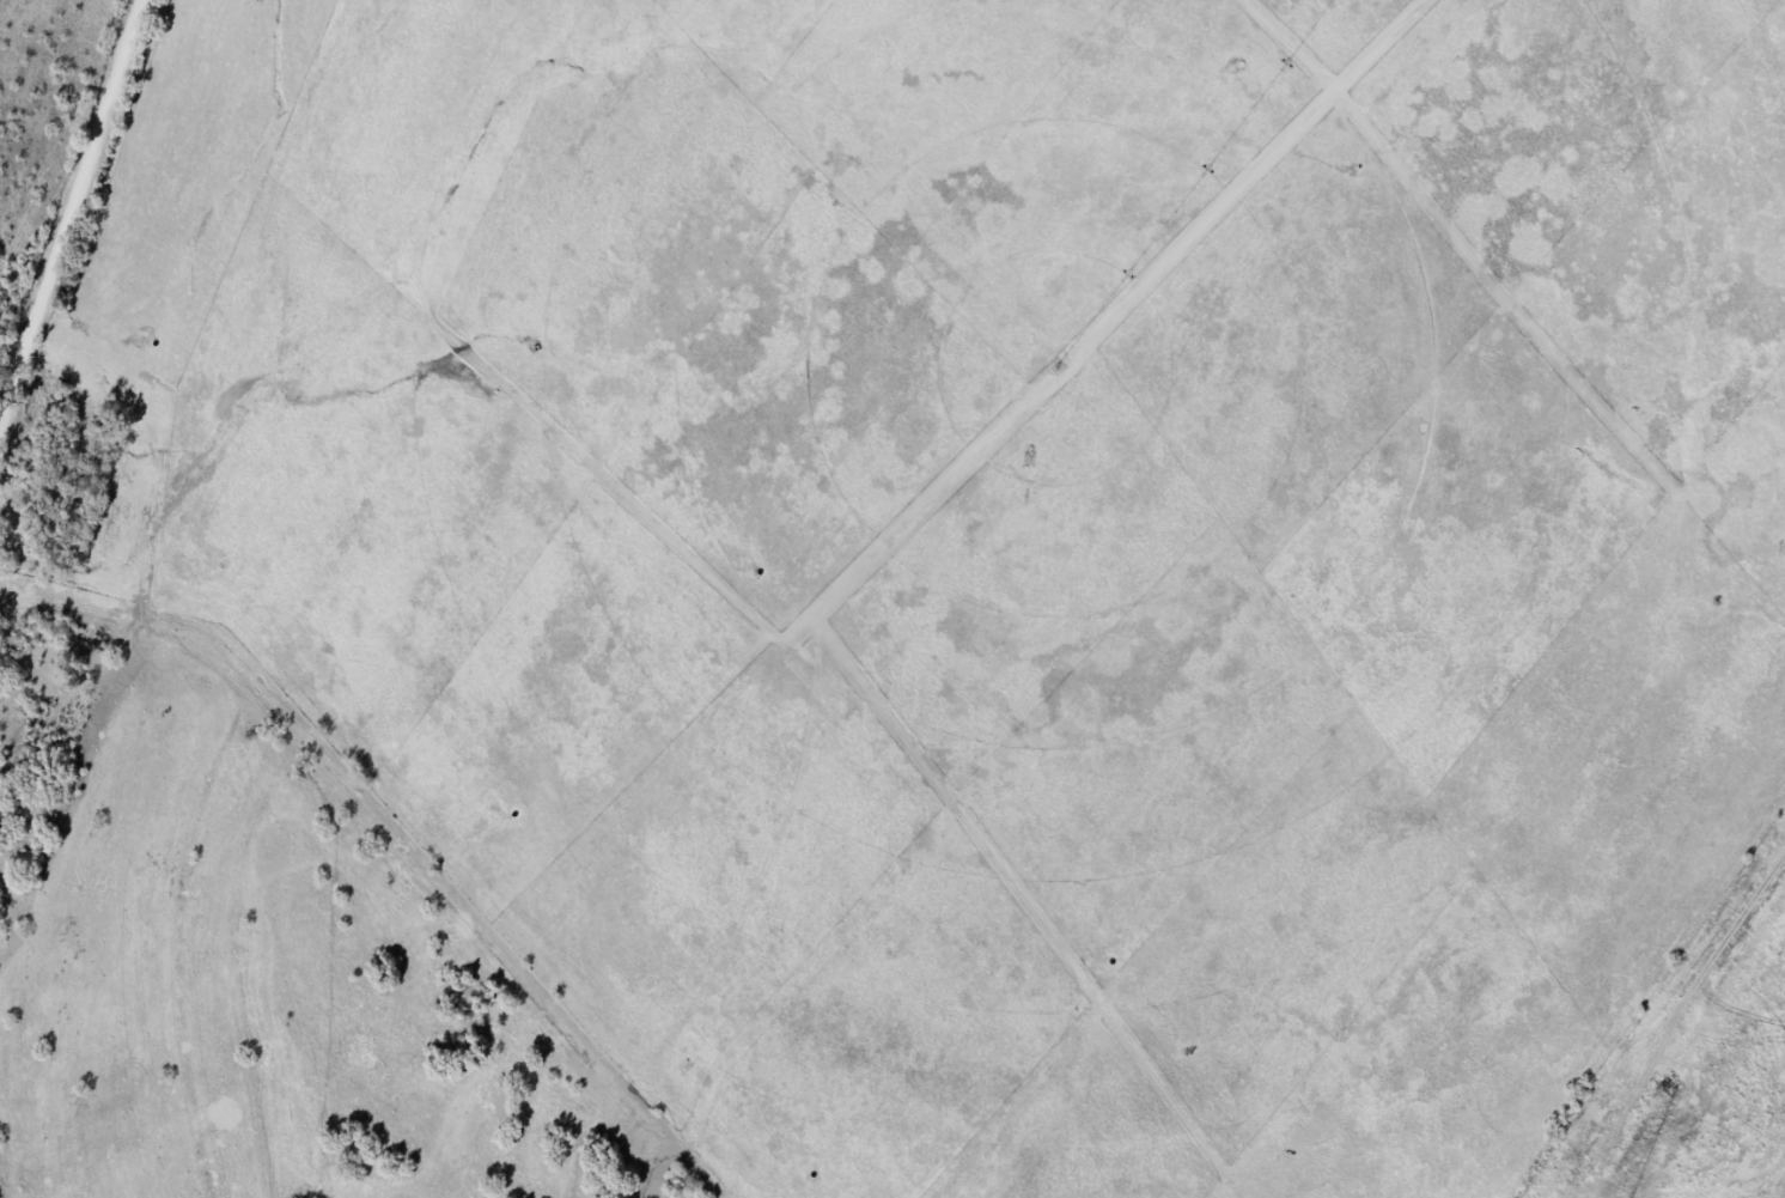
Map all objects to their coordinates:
road: (71, 208)
road: (282, 837)
road: (1734, 930)

